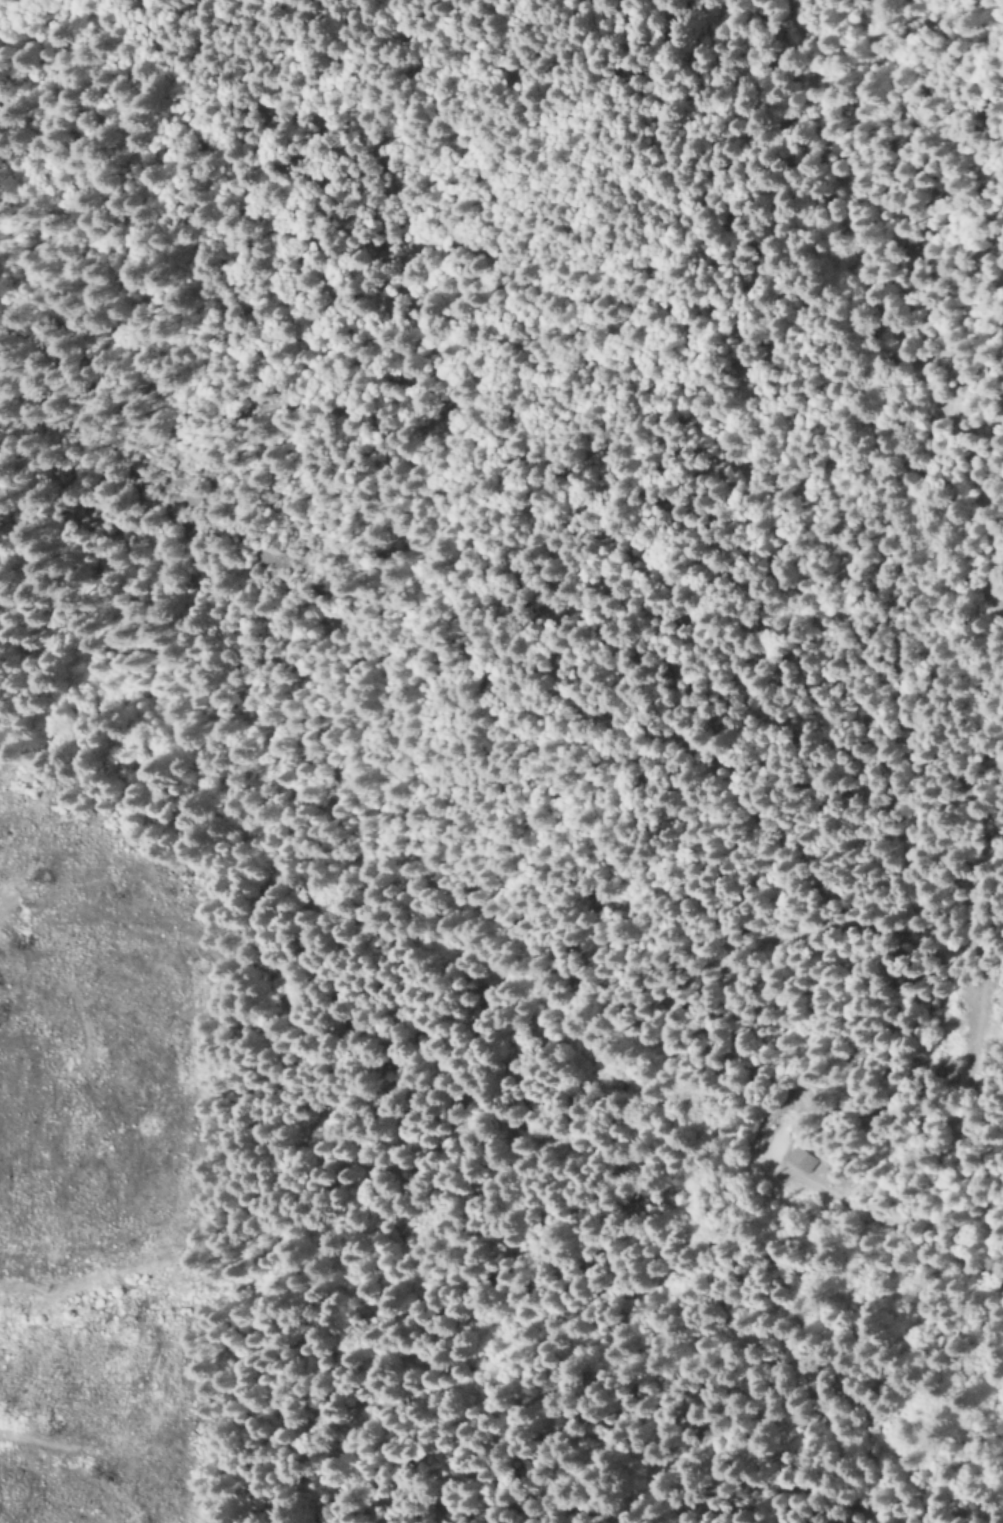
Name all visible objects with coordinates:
building: (799, 1161)

